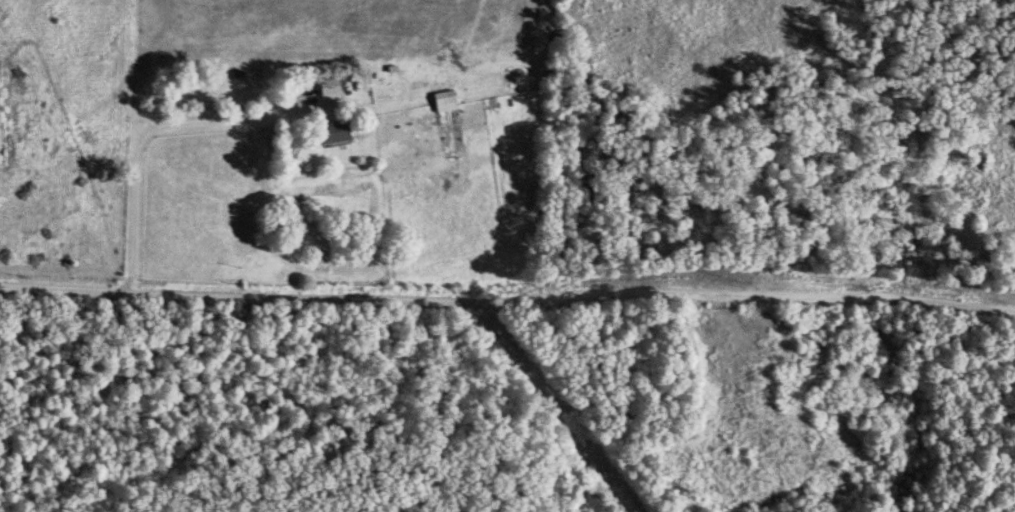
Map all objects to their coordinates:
building: (326, 90)
building: (441, 102)
building: (327, 133)
road: (145, 136)
road: (507, 301)

